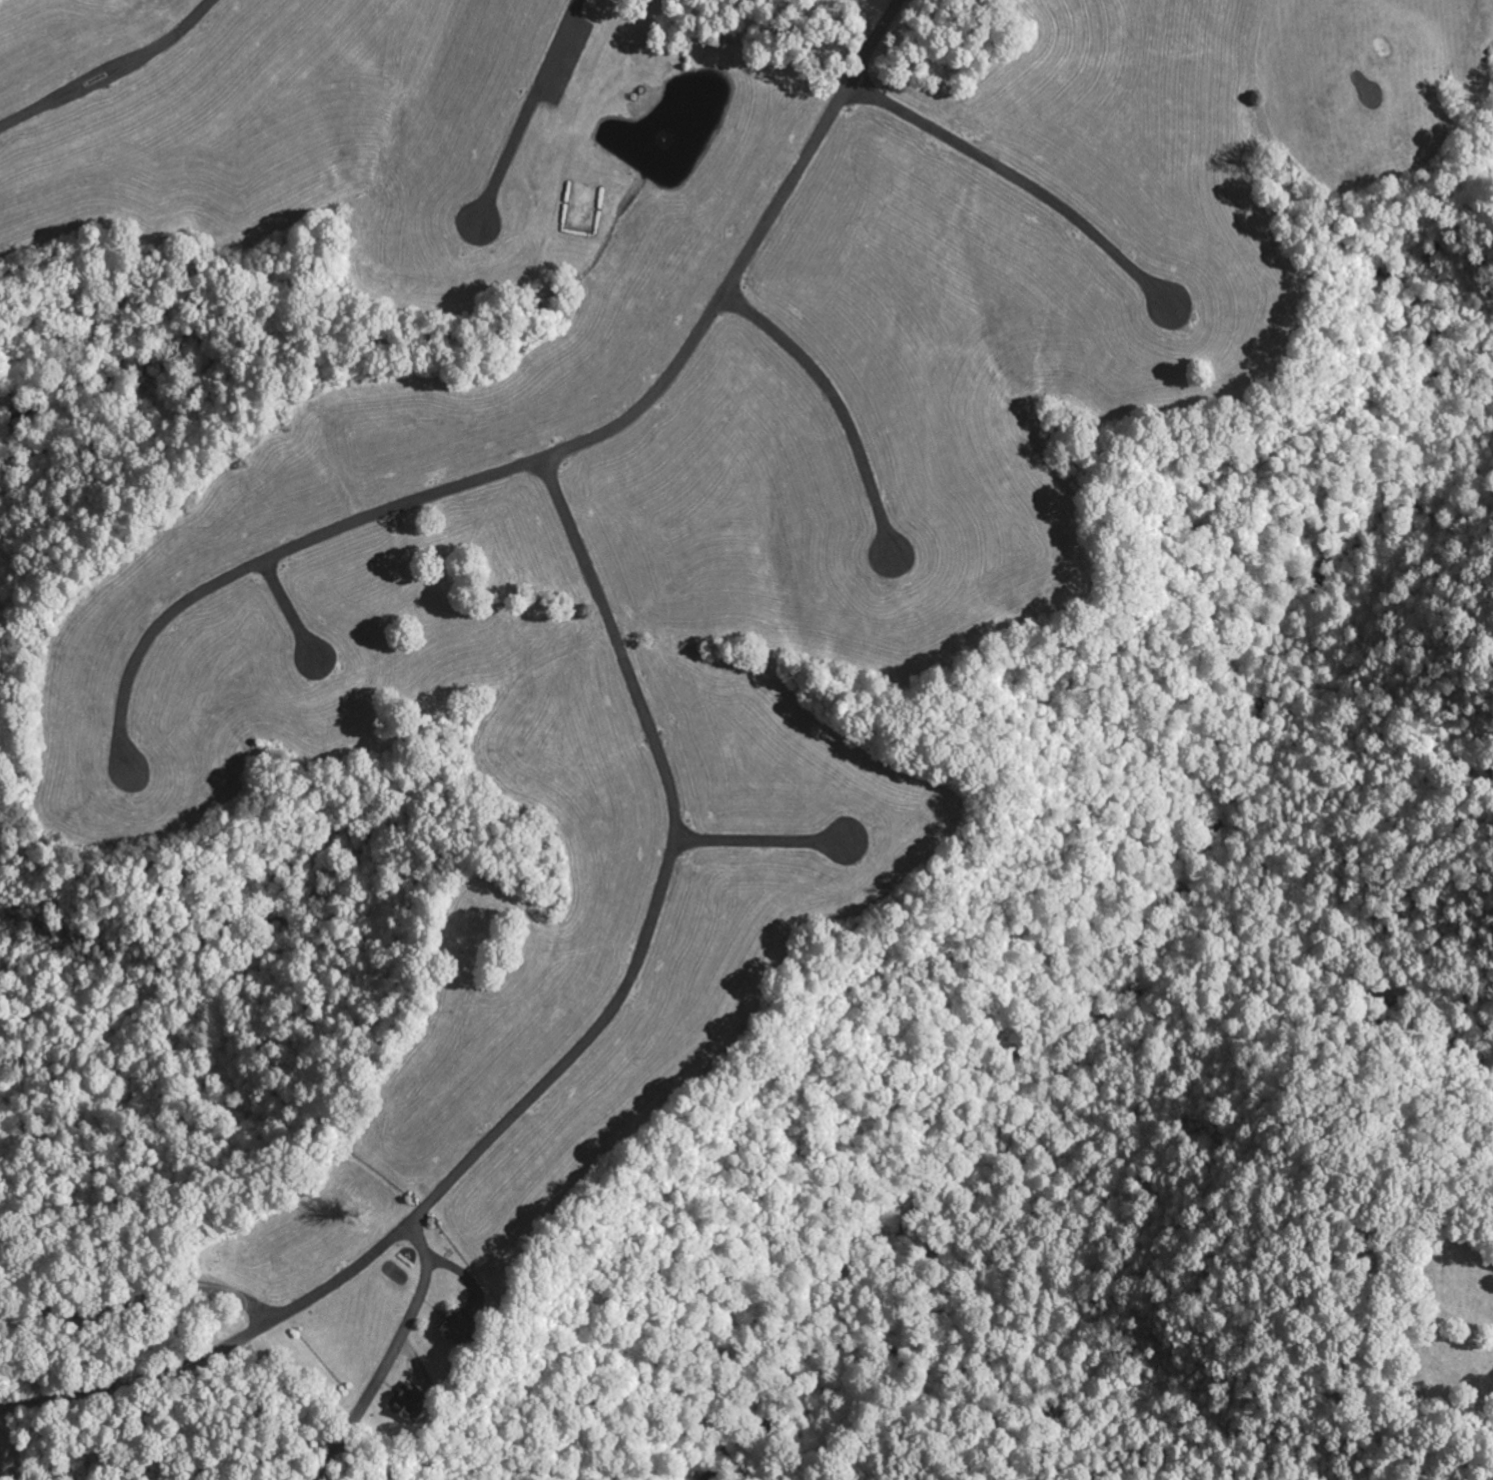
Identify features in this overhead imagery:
road: (107, 69)
road: (526, 109)
road: (1018, 176)
road: (835, 402)
road: (546, 451)
road: (286, 607)
road: (759, 837)
road: (640, 946)
road: (141, 1294)
building: (449, 1326)
road: (392, 1356)
road: (144, 1377)
building: (404, 1401)

